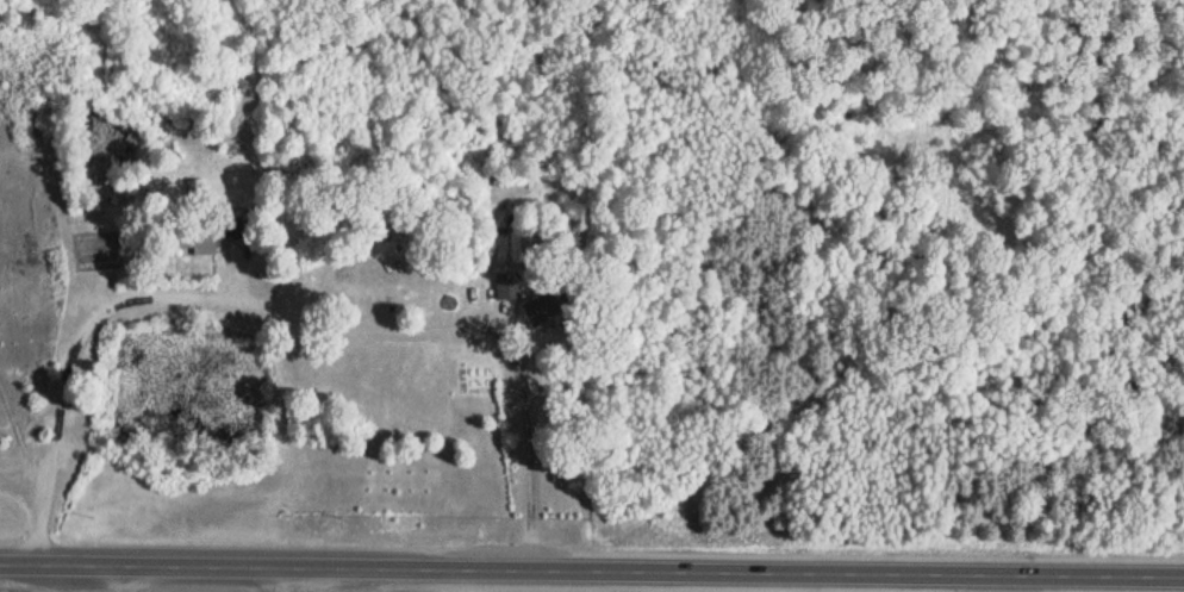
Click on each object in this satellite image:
building: (205, 241)
building: (509, 283)
road: (291, 299)
building: (548, 305)
road: (24, 462)
road: (25, 486)
road: (592, 567)

